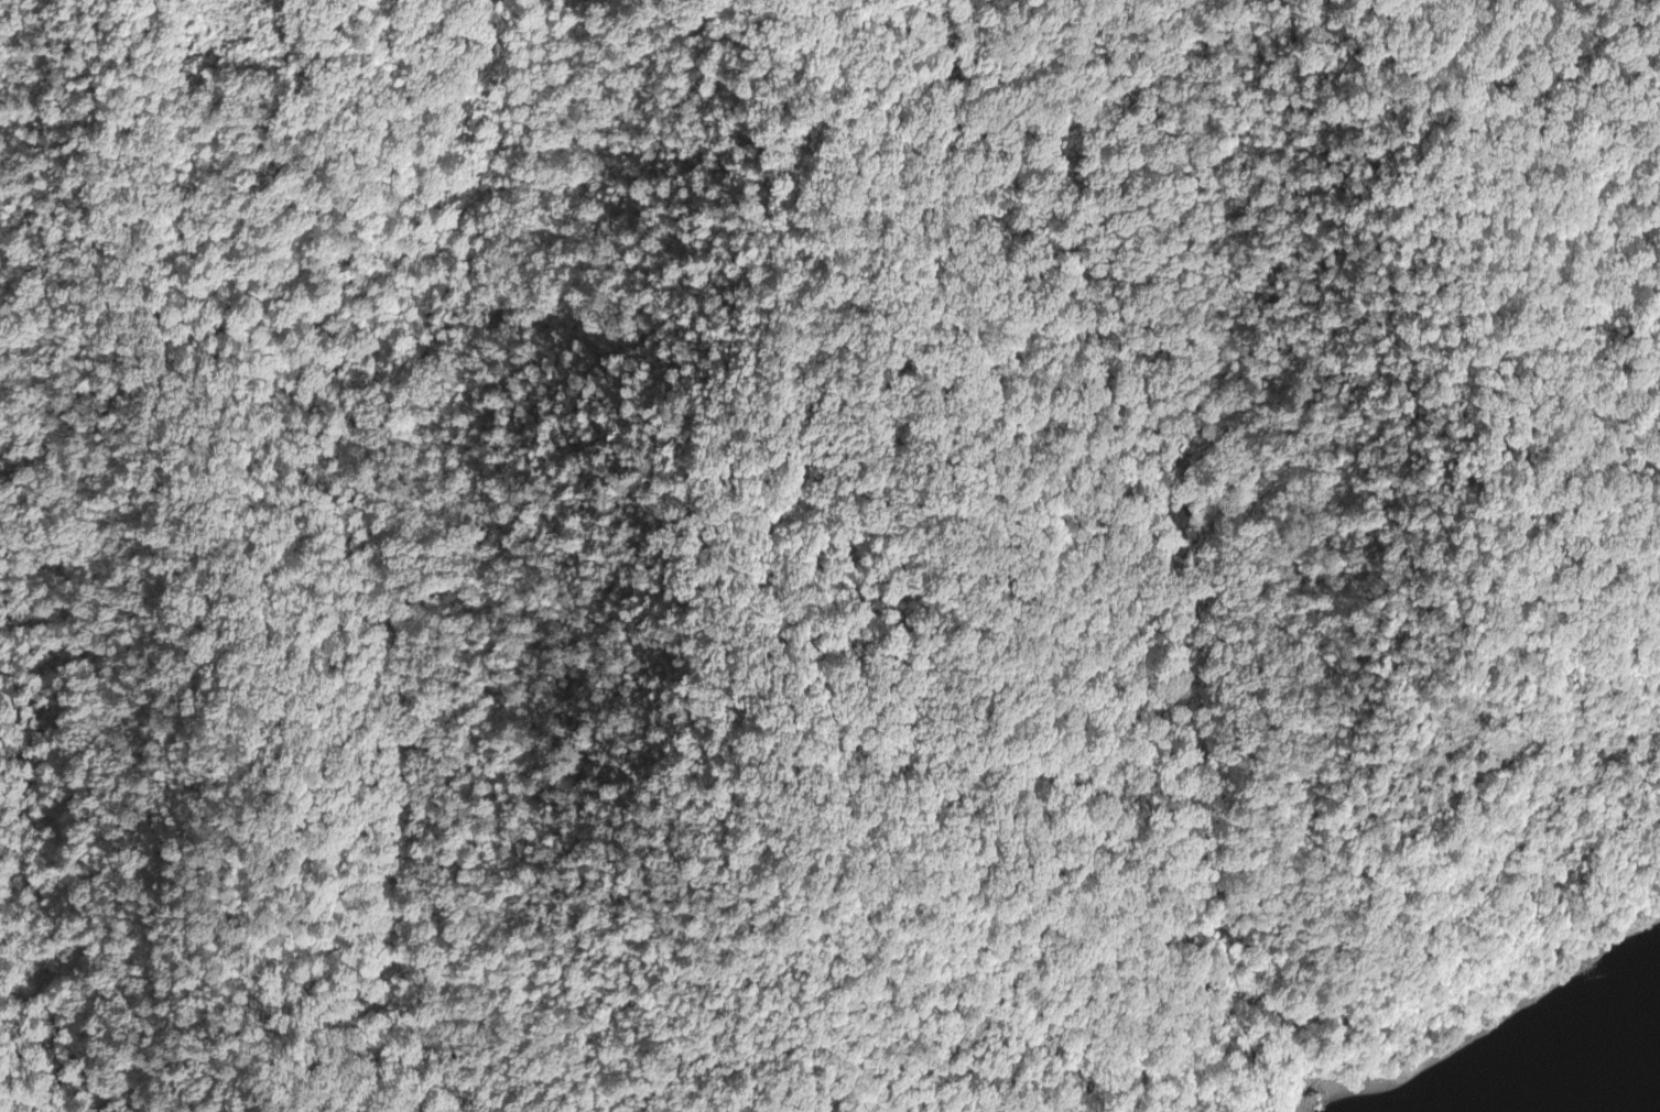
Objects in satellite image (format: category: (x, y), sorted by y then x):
road: (1408, 149)

